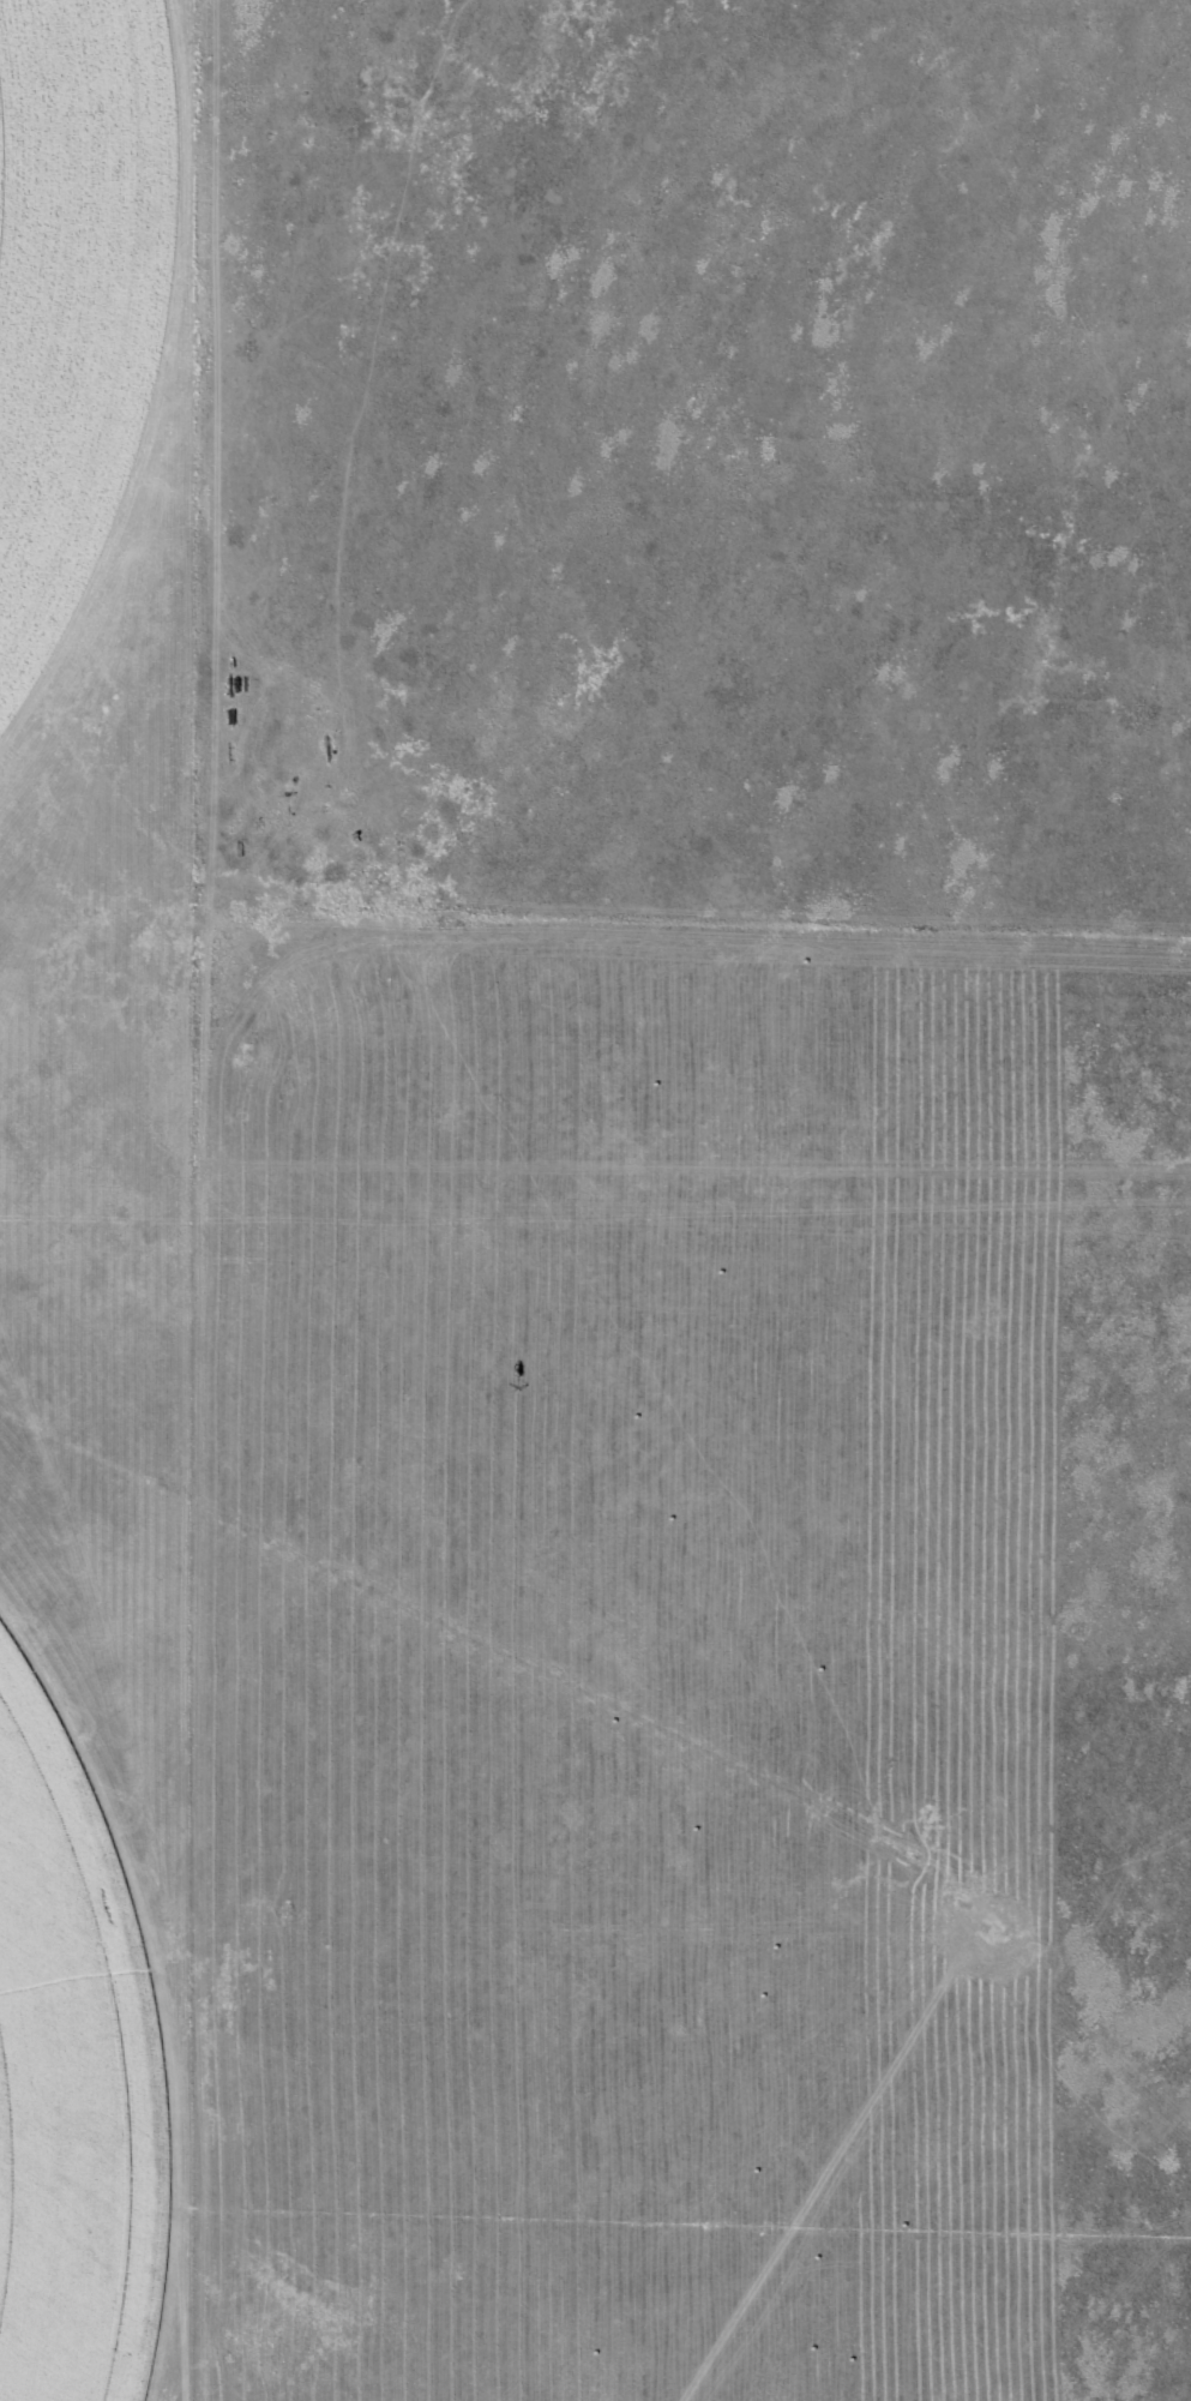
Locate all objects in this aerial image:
road: (205, 1794)

